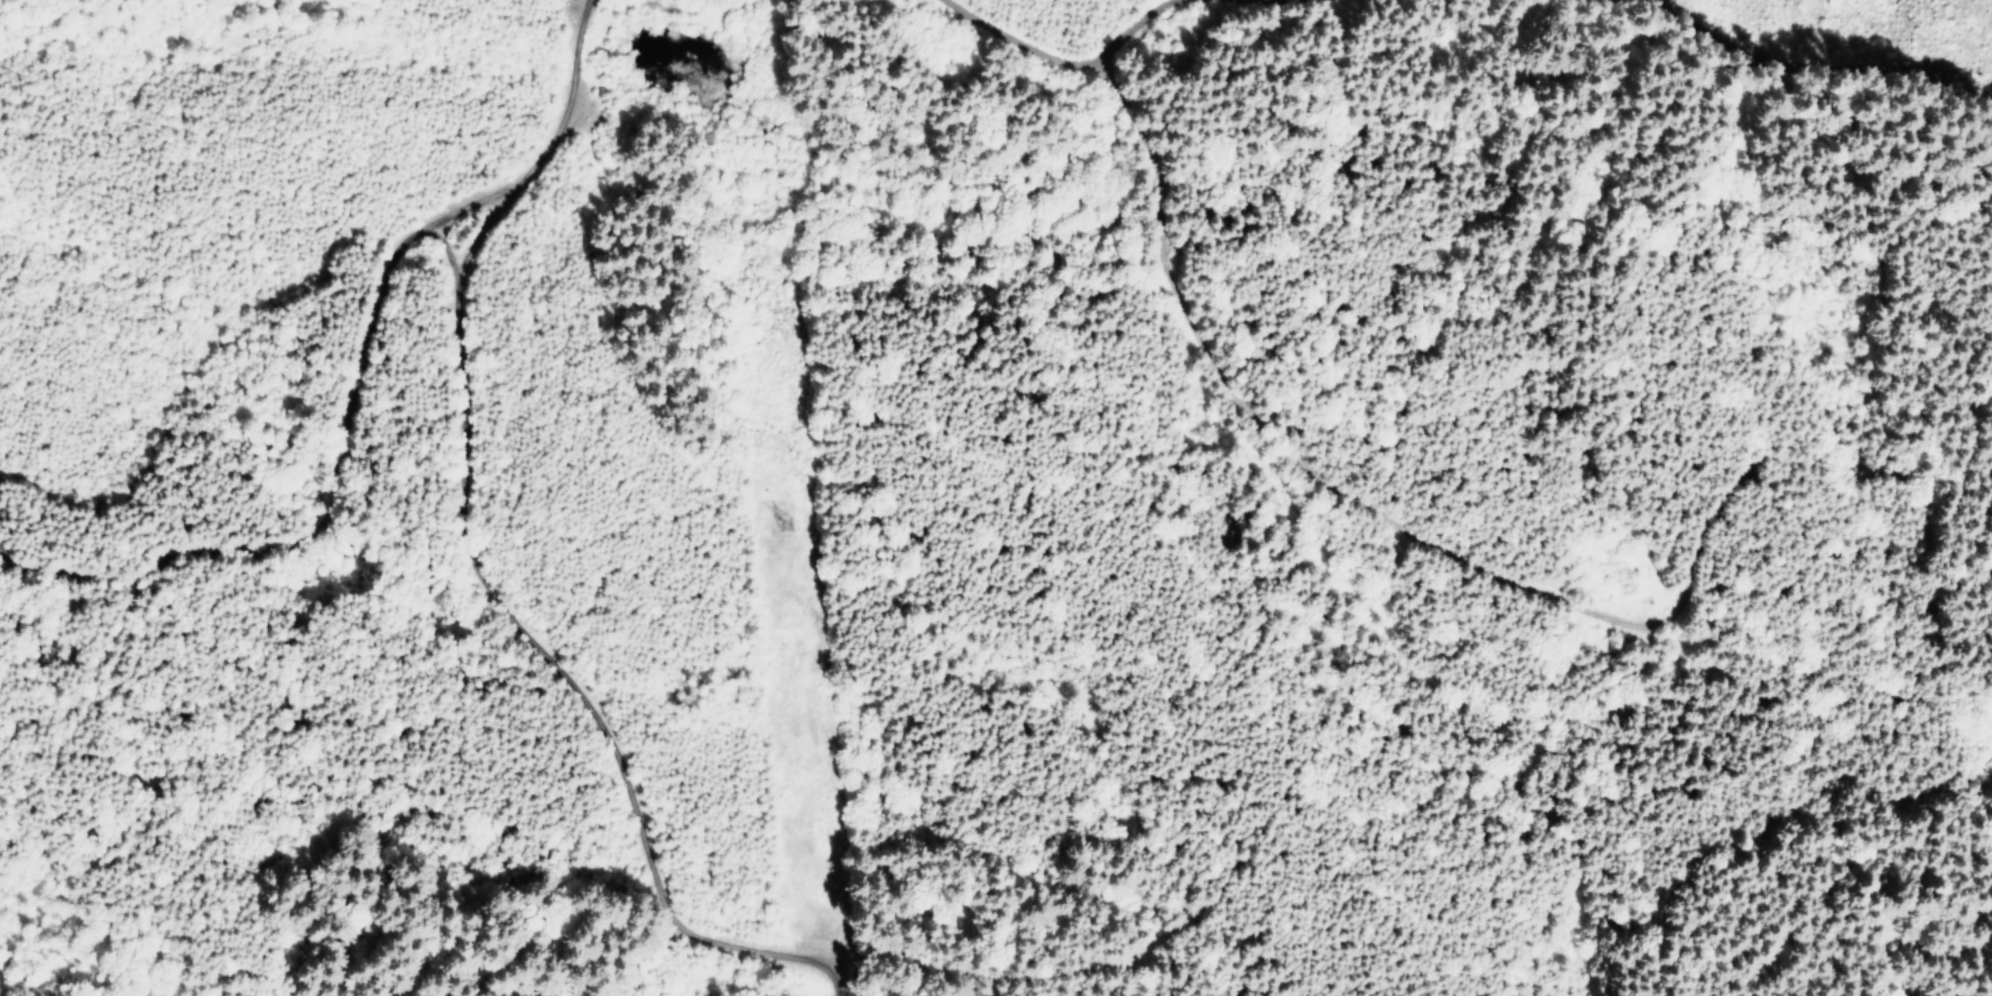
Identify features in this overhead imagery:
road: (1806, 72)

